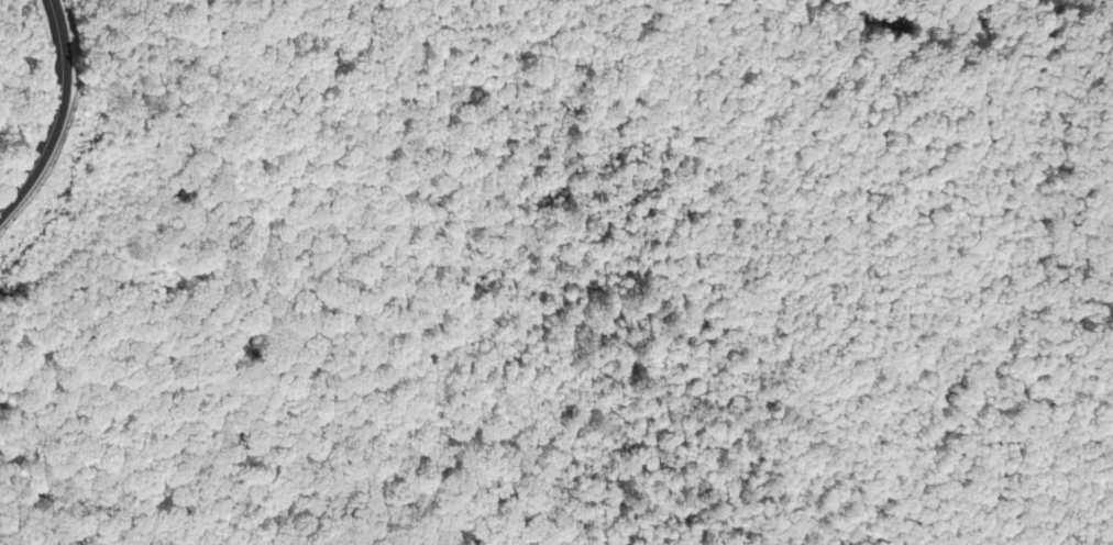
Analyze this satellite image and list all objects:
road: (60, 115)

